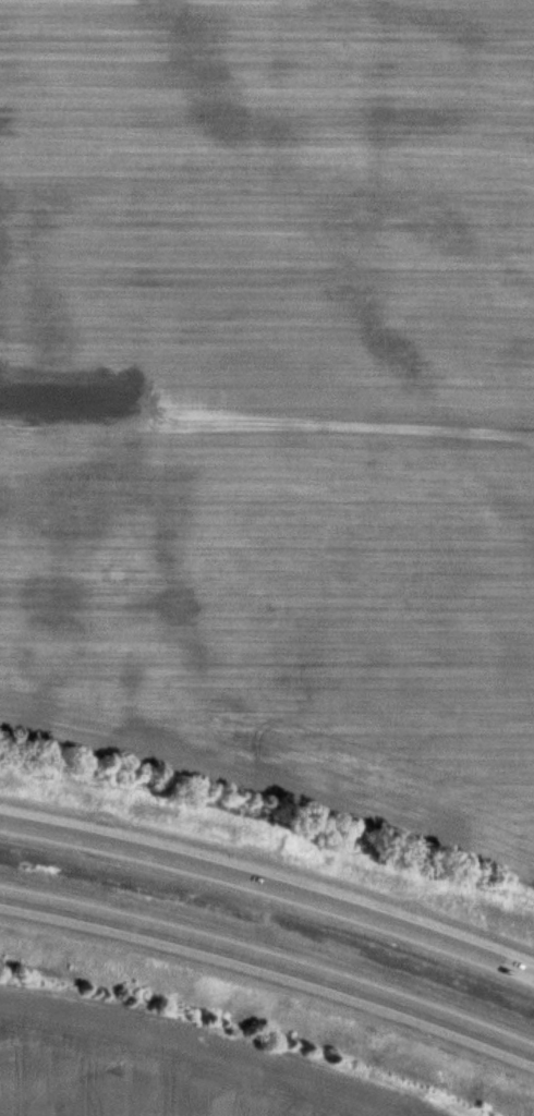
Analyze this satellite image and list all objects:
road: (270, 886)
road: (270, 961)

